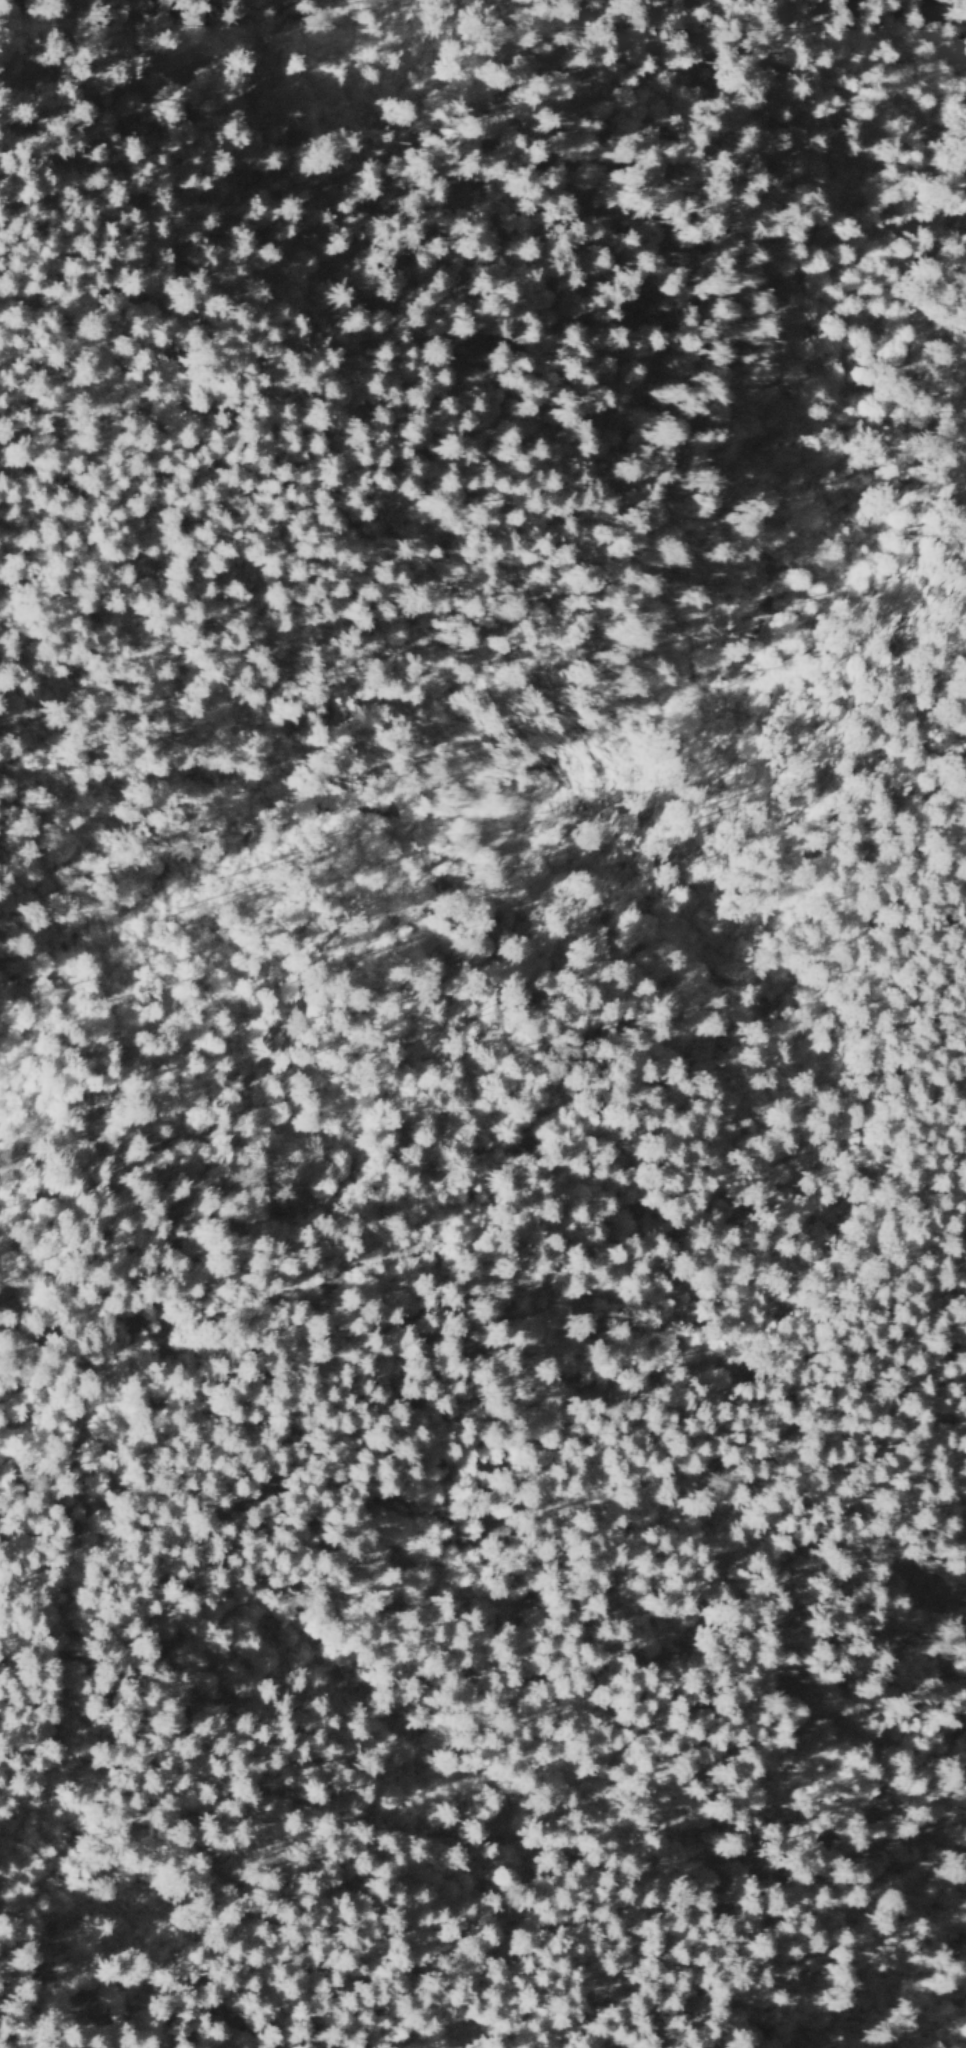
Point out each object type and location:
road: (703, 331)
road: (580, 1411)
road: (173, 1603)

